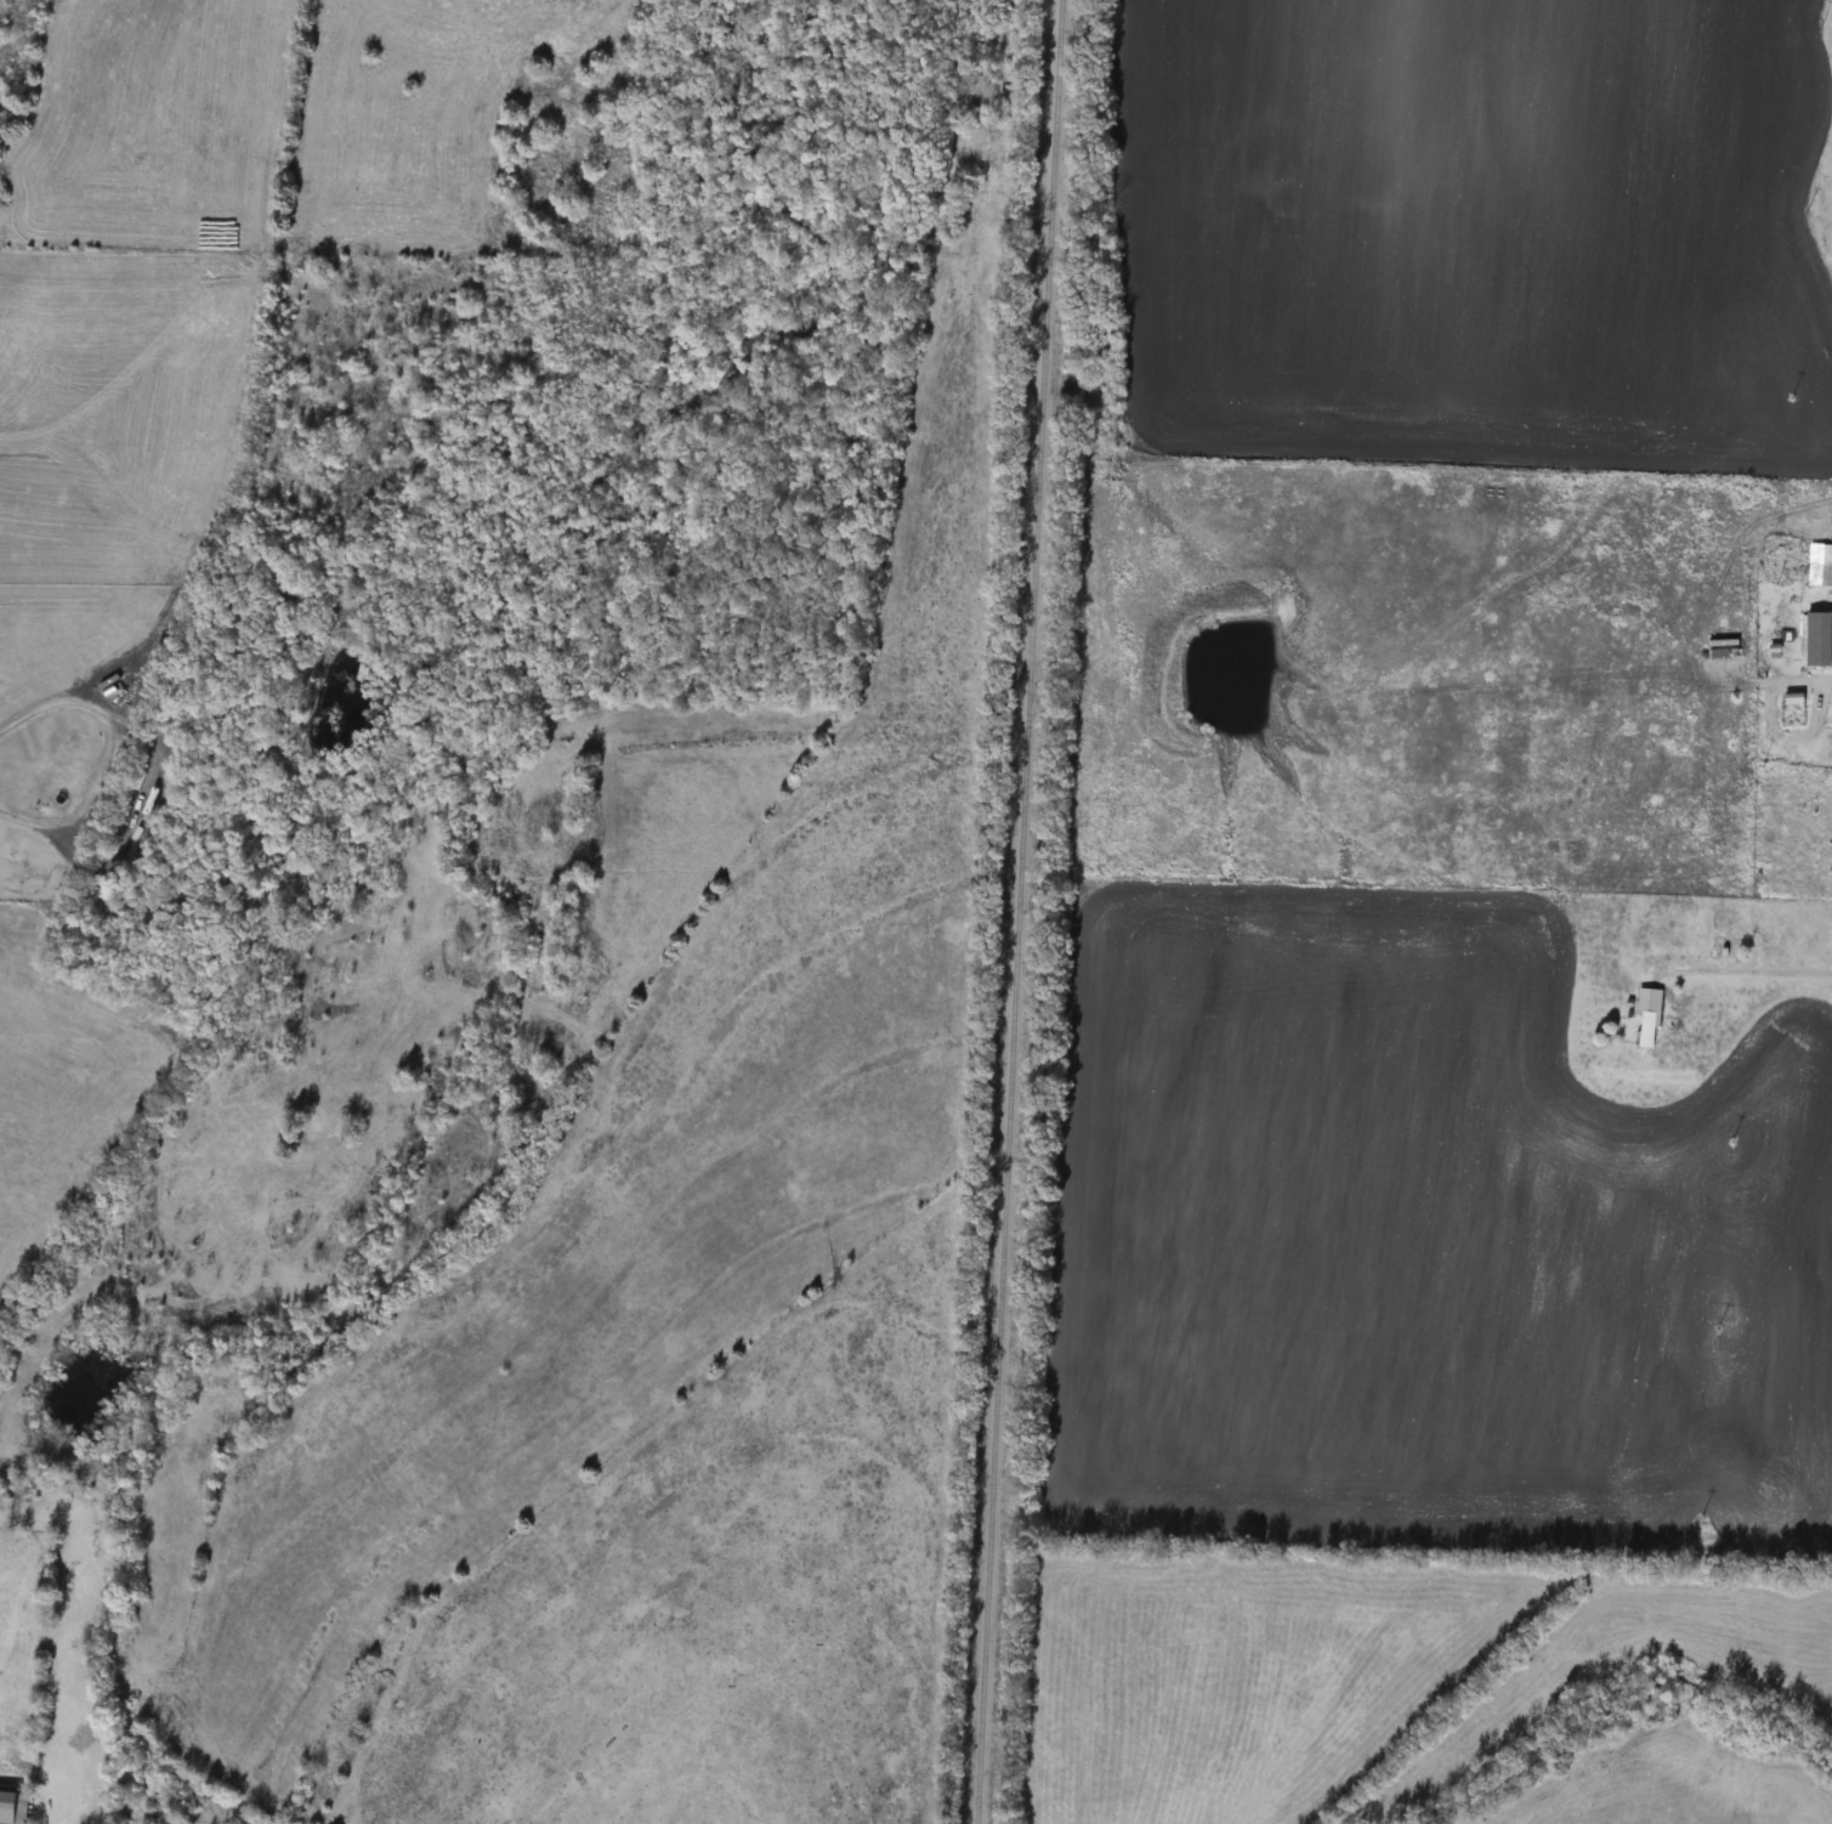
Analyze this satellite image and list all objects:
building: (1820, 640)
railway: (1014, 911)
road: (1740, 969)
building: (1647, 1018)
building: (13, 1807)

